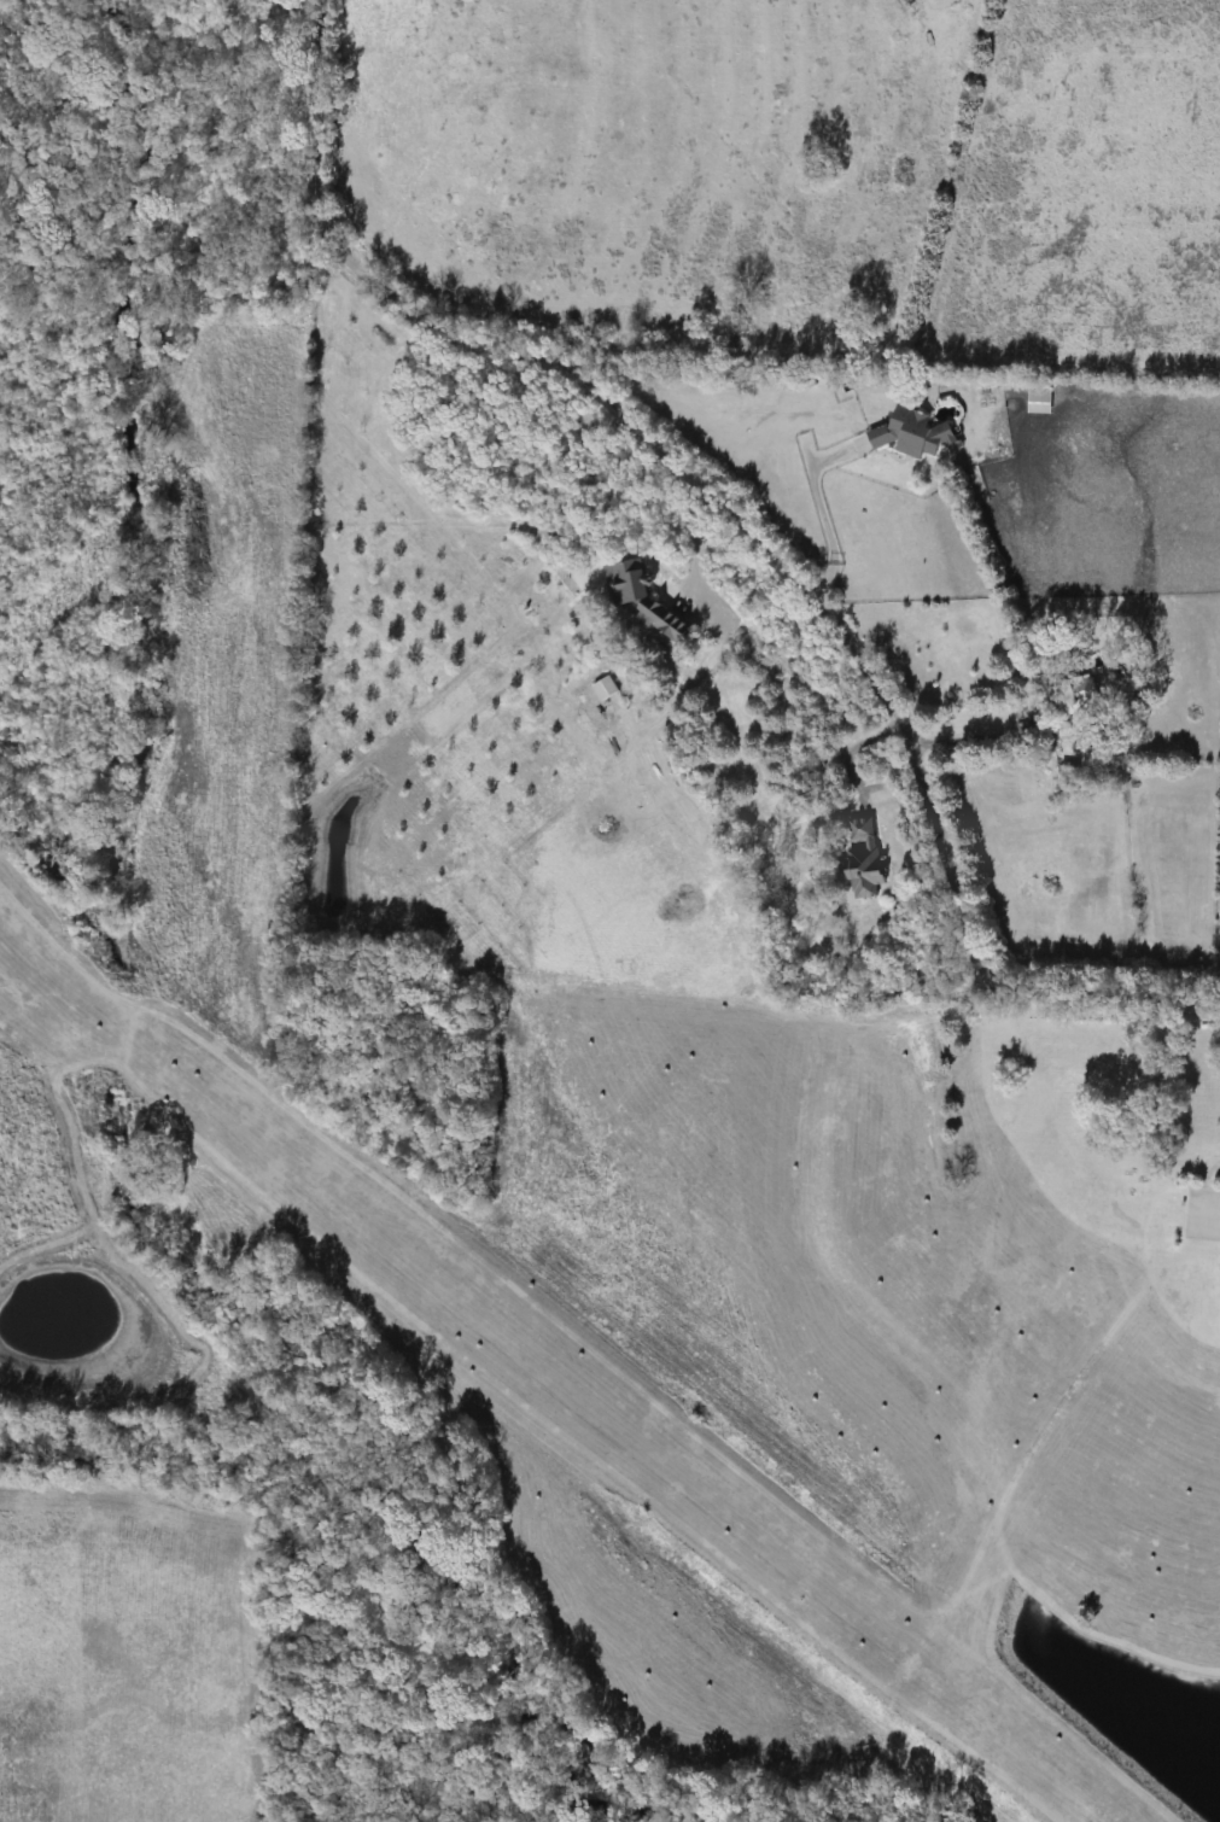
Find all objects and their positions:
road: (310, 124)
building: (907, 433)
road: (817, 509)
building: (637, 598)
road: (828, 614)
building: (601, 688)
road: (969, 724)
road: (852, 753)
building: (859, 857)

